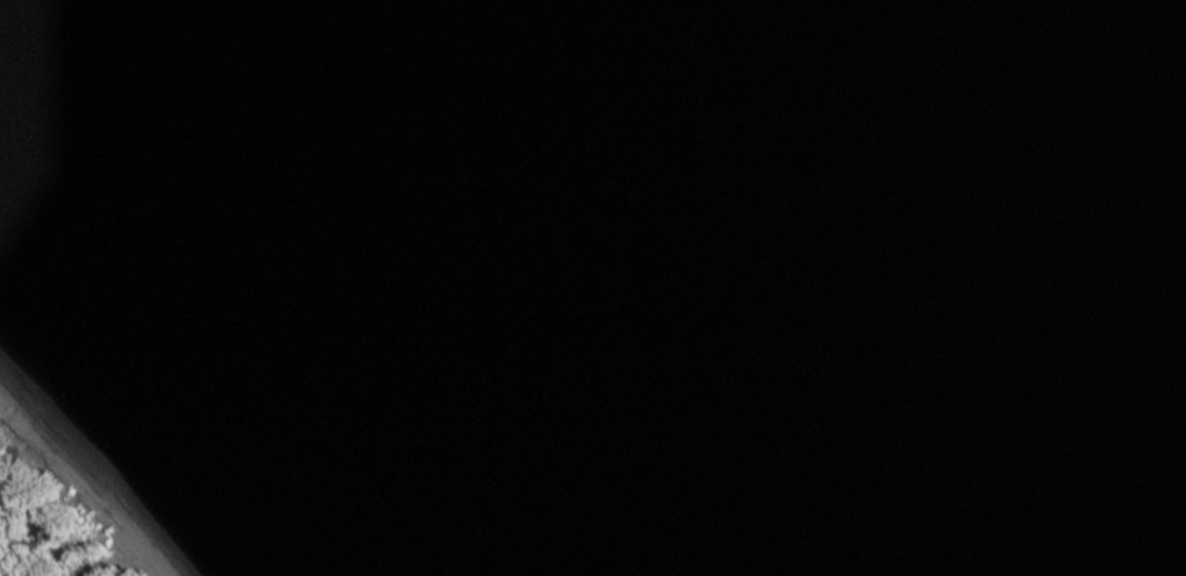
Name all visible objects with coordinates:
river: (567, 287)

